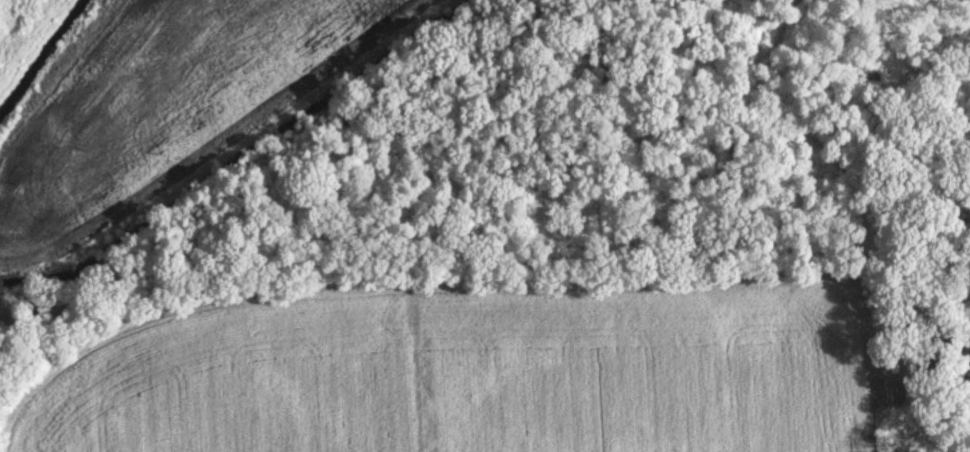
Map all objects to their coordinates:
building: (967, 365)

